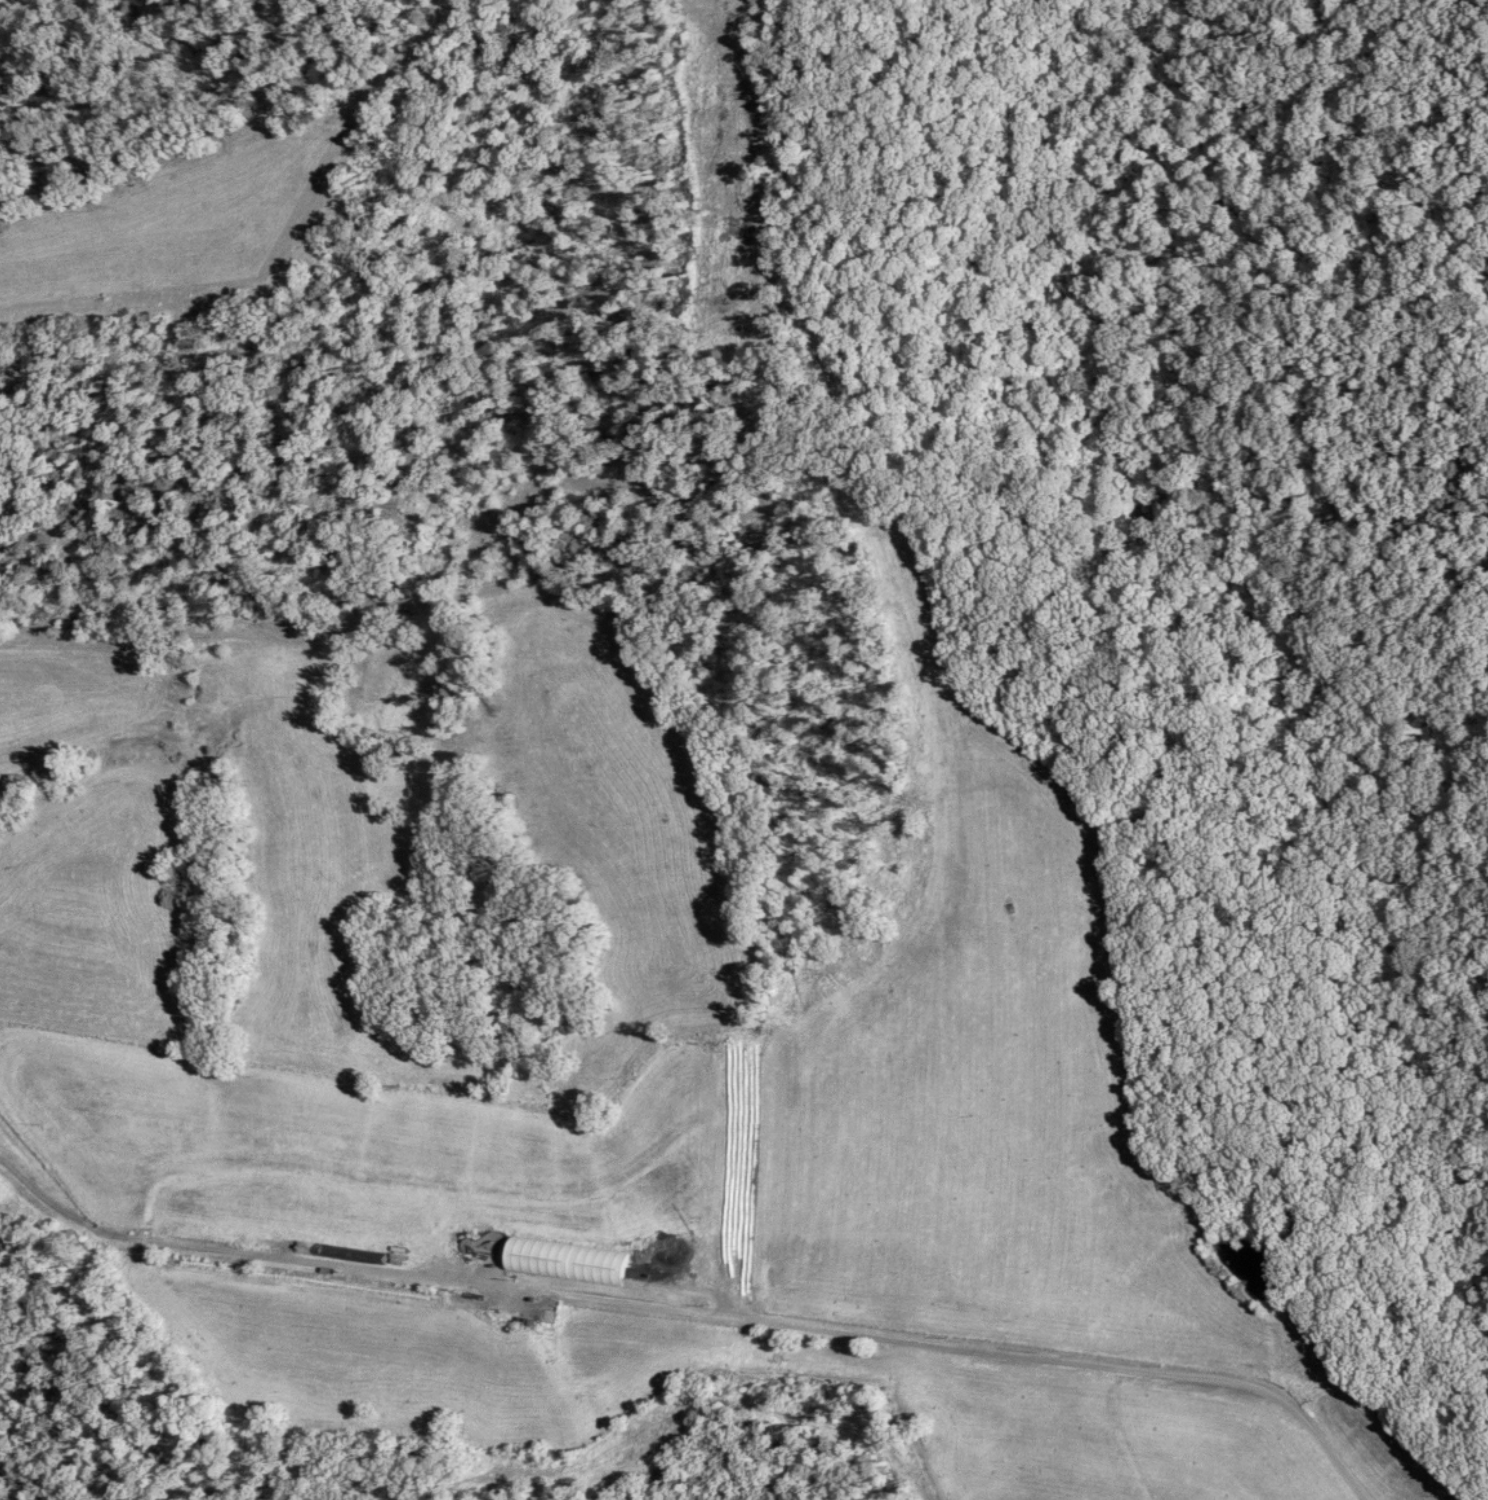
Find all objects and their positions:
building: (571, 1262)
road: (696, 1313)

